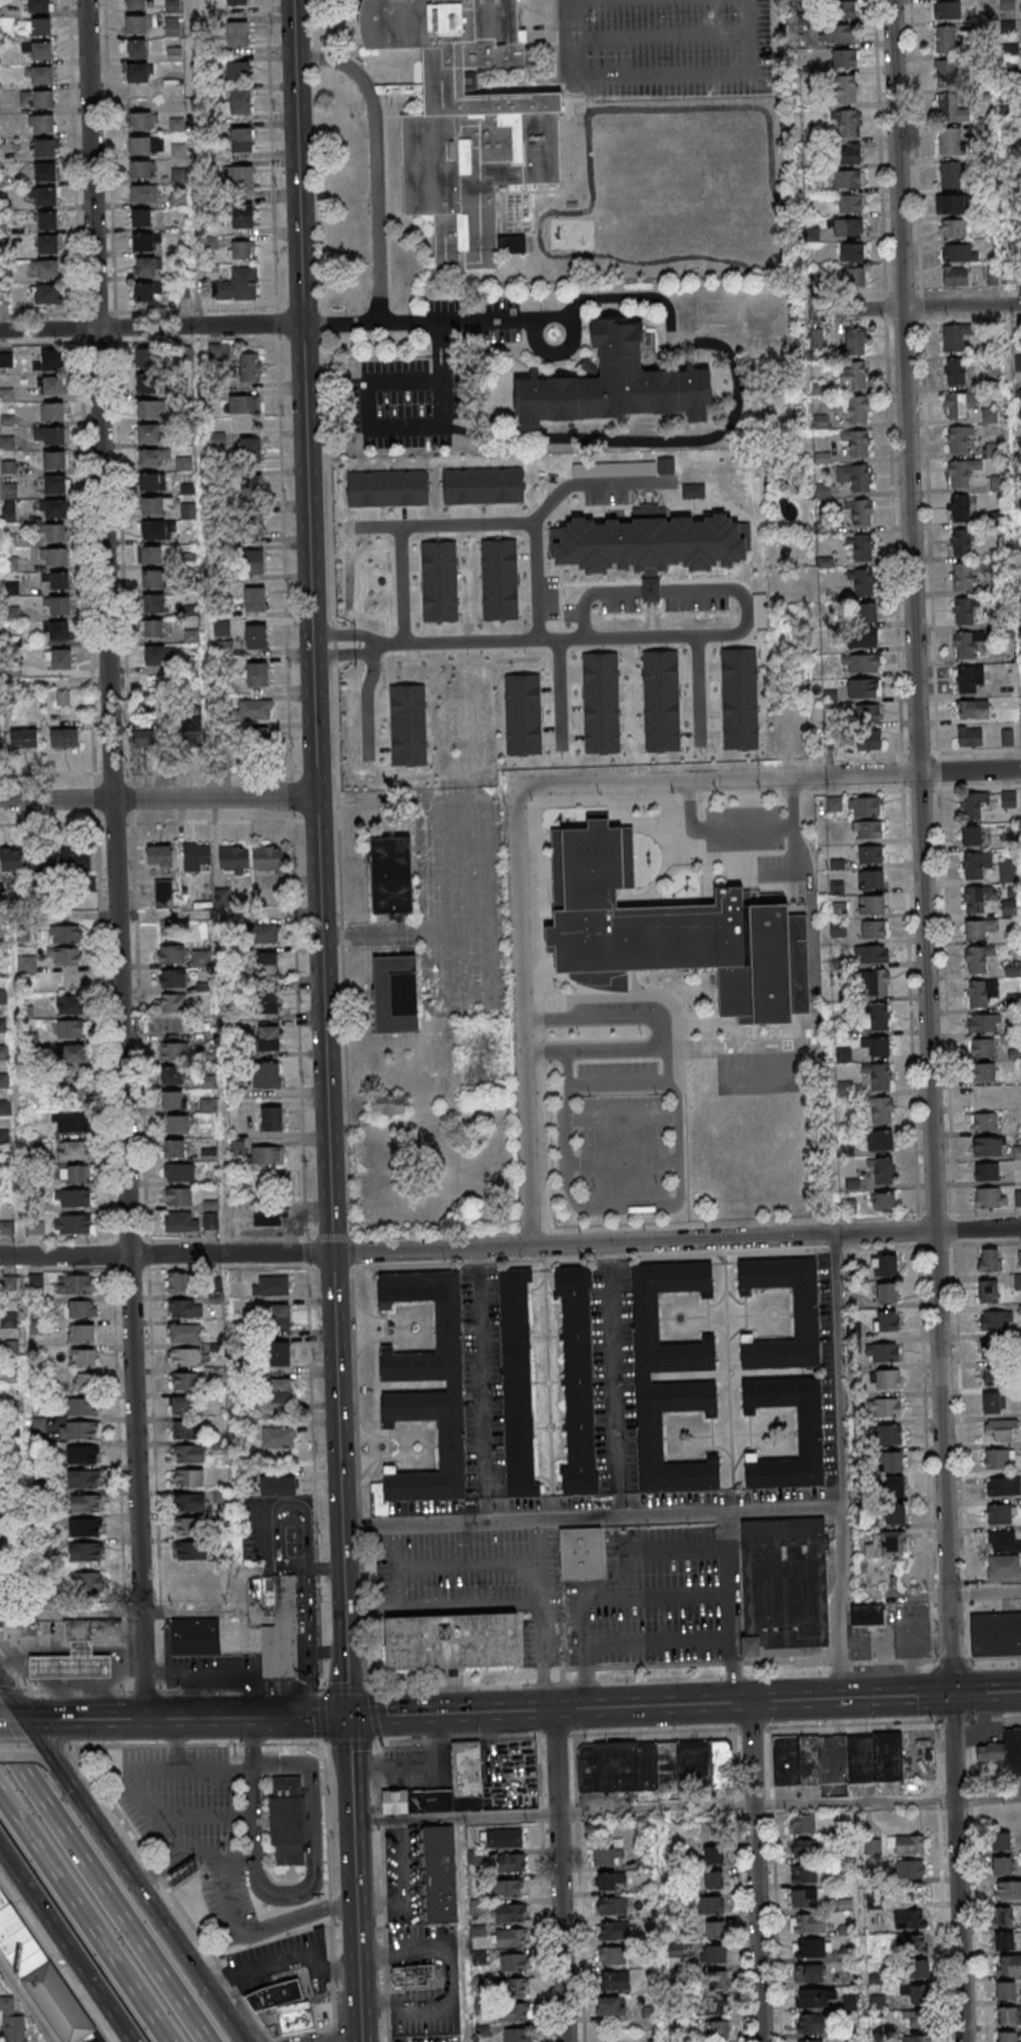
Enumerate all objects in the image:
building: (235, 1)
building: (134, 4)
building: (172, 5)
building: (841, 9)
building: (947, 9)
building: (135, 24)
building: (39, 26)
building: (173, 26)
building: (839, 33)
building: (238, 34)
road: (658, 35)
building: (945, 39)
building: (136, 48)
building: (41, 50)
building: (174, 54)
building: (845, 58)
building: (235, 69)
building: (137, 72)
building: (946, 72)
building: (39, 74)
road: (655, 76)
building: (846, 89)
building: (37, 98)
building: (240, 101)
building: (951, 109)
building: (139, 121)
building: (462, 122)
building: (42, 123)
building: (846, 123)
building: (242, 139)
building: (950, 141)
building: (139, 145)
building: (44, 147)
building: (848, 154)
road: (896, 154)
road: (373, 163)
building: (141, 169)
building: (42, 171)
building: (951, 174)
building: (243, 177)
building: (847, 179)
building: (143, 193)
building: (42, 195)
building: (950, 203)
building: (850, 204)
building: (242, 216)
building: (139, 217)
building: (45, 220)
building: (848, 228)
building: (953, 228)
building: (142, 242)
building: (47, 244)
building: (241, 250)
building: (852, 252)
building: (959, 252)
building: (144, 266)
building: (43, 269)
building: (212, 272)
building: (955, 276)
building: (854, 277)
building: (238, 285)
building: (143, 291)
building: (44, 294)
road: (644, 297)
road: (907, 308)
road: (560, 318)
road: (421, 323)
road: (150, 327)
road: (78, 329)
road: (437, 332)
building: (955, 336)
building: (855, 341)
road: (437, 342)
road: (1007, 345)
building: (143, 359)
building: (5, 361)
building: (49, 362)
building: (1018, 362)
building: (250, 366)
road: (438, 370)
building: (955, 370)
building: (852, 375)
building: (146, 384)
building: (611, 384)
building: (52, 387)
road: (199, 398)
building: (244, 404)
building: (956, 405)
building: (856, 409)
building: (148, 411)
building: (51, 413)
road: (367, 420)
building: (149, 435)
building: (49, 437)
road: (639, 438)
building: (959, 439)
building: (217, 440)
building: (857, 442)
building: (250, 450)
building: (993, 450)
building: (151, 458)
building: (55, 462)
building: (183, 464)
building: (962, 472)
building: (854, 477)
building: (153, 482)
building: (997, 483)
building: (55, 485)
building: (251, 486)
building: (480, 486)
building: (385, 489)
building: (158, 506)
building: (960, 507)
building: (55, 510)
building: (860, 511)
building: (187, 512)
road: (520, 524)
building: (253, 526)
building: (158, 530)
building: (53, 534)
road: (910, 540)
building: (963, 541)
building: (645, 545)
building: (861, 545)
road: (308, 550)
building: (151, 554)
building: (55, 558)
building: (253, 562)
building: (964, 574)
building: (152, 579)
road: (535, 579)
building: (437, 580)
building: (497, 580)
building: (862, 580)
building: (58, 581)
road: (400, 586)
road: (650, 591)
road: (588, 594)
building: (254, 595)
building: (152, 604)
building: (57, 605)
building: (964, 609)
building: (867, 611)
building: (152, 629)
building: (221, 629)
building: (56, 630)
road: (341, 634)
building: (192, 636)
building: (255, 636)
road: (614, 637)
building: (862, 637)
building: (966, 643)
building: (224, 647)
building: (155, 655)
road: (341, 656)
building: (59, 658)
building: (860, 662)
road: (0, 667)
building: (257, 674)
building: (968, 678)
road: (54, 683)
building: (863, 687)
road: (697, 688)
road: (558, 693)
building: (157, 694)
road: (365, 699)
building: (737, 699)
building: (659, 702)
building: (468, 703)
building: (597, 703)
building: (972, 708)
building: (254, 709)
building: (868, 713)
building: (520, 714)
building: (405, 725)
building: (0, 732)
building: (970, 736)
building: (64, 737)
building: (24, 738)
building: (868, 740)
road: (969, 770)
road: (717, 779)
road: (289, 797)
road: (157, 798)
building: (834, 803)
building: (972, 804)
building: (863, 806)
road: (745, 829)
building: (869, 829)
building: (972, 835)
building: (871, 854)
building: (159, 857)
building: (196, 857)
building: (270, 858)
building: (11, 859)
building: (75, 859)
road: (114, 859)
building: (234, 859)
building: (43, 861)
building: (973, 865)
road: (440, 876)
building: (392, 879)
building: (870, 879)
building: (164, 892)
building: (222, 897)
building: (974, 899)
building: (871, 904)
road: (162, 914)
building: (978, 928)
building: (873, 929)
road: (418, 932)
building: (672, 932)
building: (265, 934)
building: (66, 935)
building: (872, 954)
building: (171, 955)
building: (67, 958)
building: (977, 958)
building: (266, 963)
building: (1012, 971)
building: (173, 979)
building: (877, 983)
building: (981, 992)
building: (396, 995)
building: (267, 1001)
road: (926, 1001)
building: (1014, 1001)
building: (173, 1004)
building: (70, 1006)
building: (874, 1016)
road: (521, 1019)
building: (984, 1022)
building: (71, 1030)
building: (269, 1038)
road: (798, 1044)
building: (876, 1045)
building: (981, 1047)
building: (174, 1052)
building: (75, 1055)
building: (983, 1071)
building: (266, 1074)
building: (878, 1074)
building: (172, 1076)
building: (4, 1080)
road: (11, 1086)
building: (173, 1100)
building: (207, 1105)
building: (388, 1105)
building: (4, 1107)
building: (881, 1109)
building: (272, 1118)
building: (984, 1121)
building: (70, 1123)
building: (178, 1124)
building: (4, 1136)
building: (880, 1140)
building: (987, 1145)
building: (237, 1147)
building: (173, 1149)
building: (72, 1151)
building: (1017, 1152)
building: (208, 1154)
building: (267, 1155)
building: (2, 1160)
building: (884, 1169)
building: (986, 1171)
building: (178, 1172)
building: (73, 1175)
road: (329, 1177)
road: (679, 1186)
building: (177, 1197)
building: (990, 1197)
building: (75, 1198)
building: (1018, 1198)
building: (883, 1200)
building: (266, 1218)
building: (210, 1221)
building: (180, 1222)
building: (72, 1224)
building: (35, 1227)
building: (7, 1228)
road: (774, 1237)
road: (54, 1240)
road: (127, 1240)
road: (429, 1250)
road: (166, 1254)
road: (110, 1255)
building: (1019, 1258)
building: (988, 1259)
building: (885, 1265)
building: (1018, 1281)
building: (176, 1282)
building: (74, 1285)
building: (272, 1286)
building: (988, 1290)
building: (887, 1293)
building: (180, 1310)
building: (80, 1311)
building: (803, 1314)
building: (279, 1316)
building: (9, 1320)
building: (996, 1320)
building: (887, 1321)
building: (184, 1334)
building: (78, 1335)
building: (994, 1347)
building: (883, 1352)
building: (281, 1353)
building: (184, 1358)
building: (79, 1360)
building: (999, 1374)
building: (639, 1375)
road: (612, 1379)
building: (887, 1379)
building: (576, 1380)
building: (515, 1381)
building: (83, 1382)
building: (182, 1383)
road: (481, 1383)
road: (338, 1389)
building: (281, 1390)
building: (436, 1392)
building: (993, 1402)
building: (78, 1407)
building: (182, 1408)
building: (883, 1408)
road: (151, 1418)
building: (1001, 1430)
building: (78, 1432)
building: (184, 1432)
building: (808, 1433)
road: (116, 1434)
building: (890, 1434)
building: (273, 1438)
building: (187, 1455)
building: (79, 1456)
building: (999, 1458)
building: (892, 1462)
road: (839, 1466)
building: (186, 1480)
building: (79, 1481)
building: (892, 1485)
building: (1004, 1485)
building: (277, 1487)
building: (187, 1504)
building: (81, 1505)
building: (894, 1513)
building: (1001, 1513)
road: (592, 1515)
building: (189, 1527)
building: (81, 1529)
road: (538, 1541)
building: (1003, 1541)
building: (886, 1545)
building: (189, 1552)
building: (82, 1554)
building: (579, 1554)
building: (1003, 1566)
road: (443, 1568)
building: (85, 1583)
building: (788, 1586)
road: (344, 1588)
road: (984, 1592)
road: (894, 1594)
road: (606, 1595)
road: (733, 1605)
road: (444, 1609)
building: (867, 1614)
building: (96, 1632)
building: (281, 1632)
building: (996, 1633)
building: (199, 1636)
road: (948, 1636)
road: (544, 1637)
building: (454, 1640)
road: (325, 1651)
building: (75, 1663)
road: (688, 1663)
road: (344, 1684)
road: (346, 1688)
road: (162, 1691)
traffic signals: (951, 1694)
road: (787, 1700)
road: (12, 1703)
road: (449, 1713)
traffic signals: (346, 1717)
road: (245, 1718)
road: (78, 1719)
road: (138, 1719)
road: (14, 1720)
traffic signals: (24, 1720)
road: (2, 1721)
building: (1004, 1751)
road: (20, 1753)
building: (837, 1758)
road: (51, 1761)
building: (656, 1765)
road: (240, 1767)
road: (132, 1776)
building: (454, 1784)
road: (886, 1801)
road: (655, 1808)
road: (454, 1816)
building: (288, 1820)
building: (802, 1824)
road: (254, 1826)
building: (505, 1838)
road: (315, 1839)
road: (136, 1842)
building: (1001, 1842)
building: (908, 1844)
building: (872, 1846)
building: (804, 1848)
building: (713, 1855)
building: (607, 1856)
building: (516, 1863)
building: (1002, 1866)
building: (910, 1868)
road: (755, 1871)
building: (440, 1874)
building: (804, 1874)
road: (559, 1875)
road: (138, 1879)
road: (354, 1879)
building: (713, 1880)
building: (607, 1882)
building: (508, 1889)
building: (1008, 1890)
road: (102, 1891)
building: (802, 1898)
building: (844, 1904)
building: (712, 1906)
building: (612, 1907)
road: (234, 1909)
building: (510, 1913)
building: (1004, 1915)
road: (85, 1918)
building: (909, 1919)
building: (807, 1924)
building: (714, 1931)
building: (613, 1932)
building: (511, 1938)
building: (1003, 1940)
building: (910, 1943)
road: (65, 1945)
building: (810, 1949)
building: (715, 1955)
building: (611, 1957)
road: (285, 1962)
building: (513, 1962)
building: (1009, 1964)
building: (918, 1969)
building: (43, 1974)
building: (414, 1974)
building: (808, 1974)
road: (454, 1977)
building: (714, 1980)
building: (614, 1982)
building: (513, 1987)
building: (1006, 1990)
building: (919, 1995)
building: (814, 1999)
road: (26, 2001)
building: (850, 2002)
building: (877, 2003)
building: (610, 2008)
building: (515, 2013)
building: (1007, 2016)
building: (299, 2017)
building: (917, 2020)
building: (11, 2021)
building: (812, 2023)
building: (719, 2030)
building: (516, 2035)
building: (1008, 2037)
building: (96, 2038)
building: (916, 2038)
building: (810, 2040)

